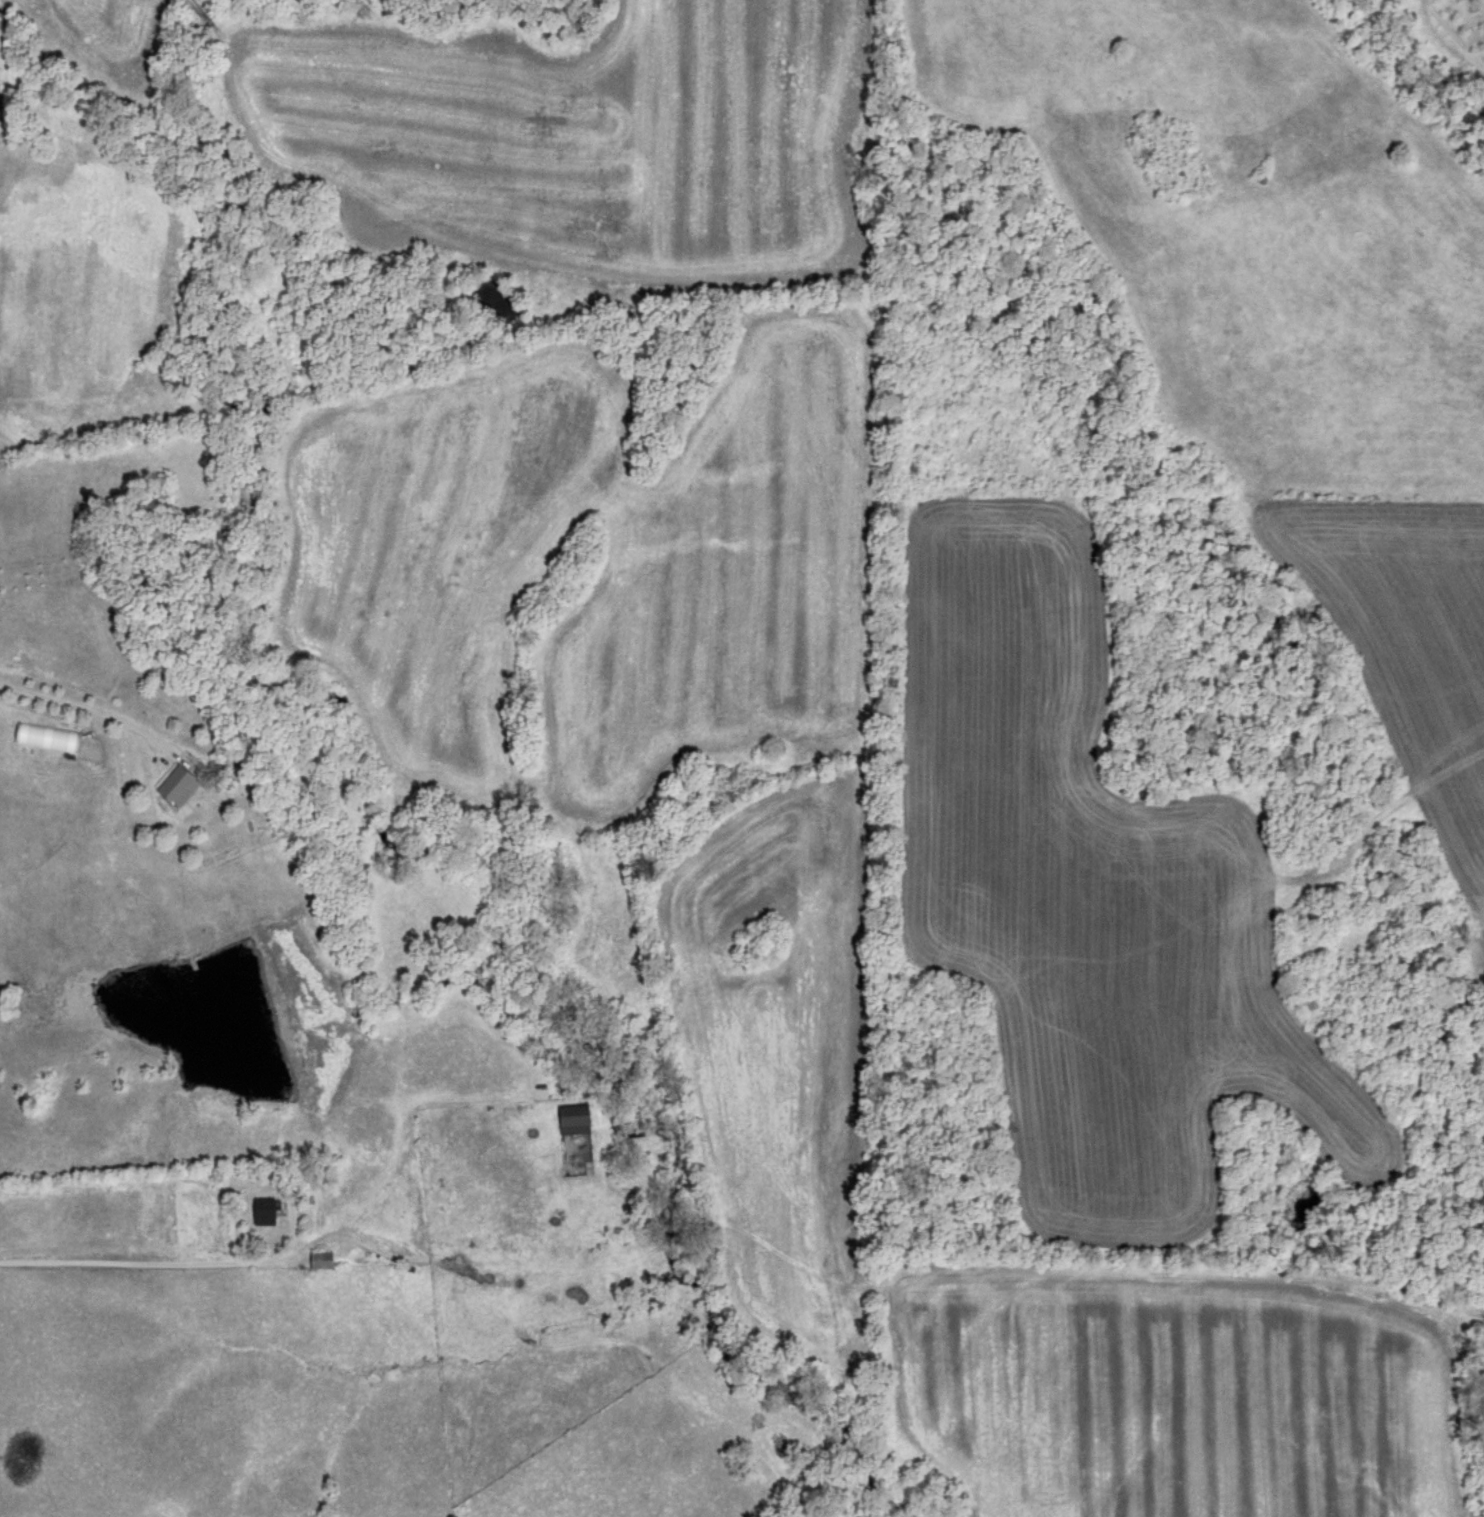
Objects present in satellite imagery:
road: (78, 704)
building: (182, 783)
building: (576, 1117)
building: (268, 1208)
road: (360, 1240)
building: (323, 1256)

